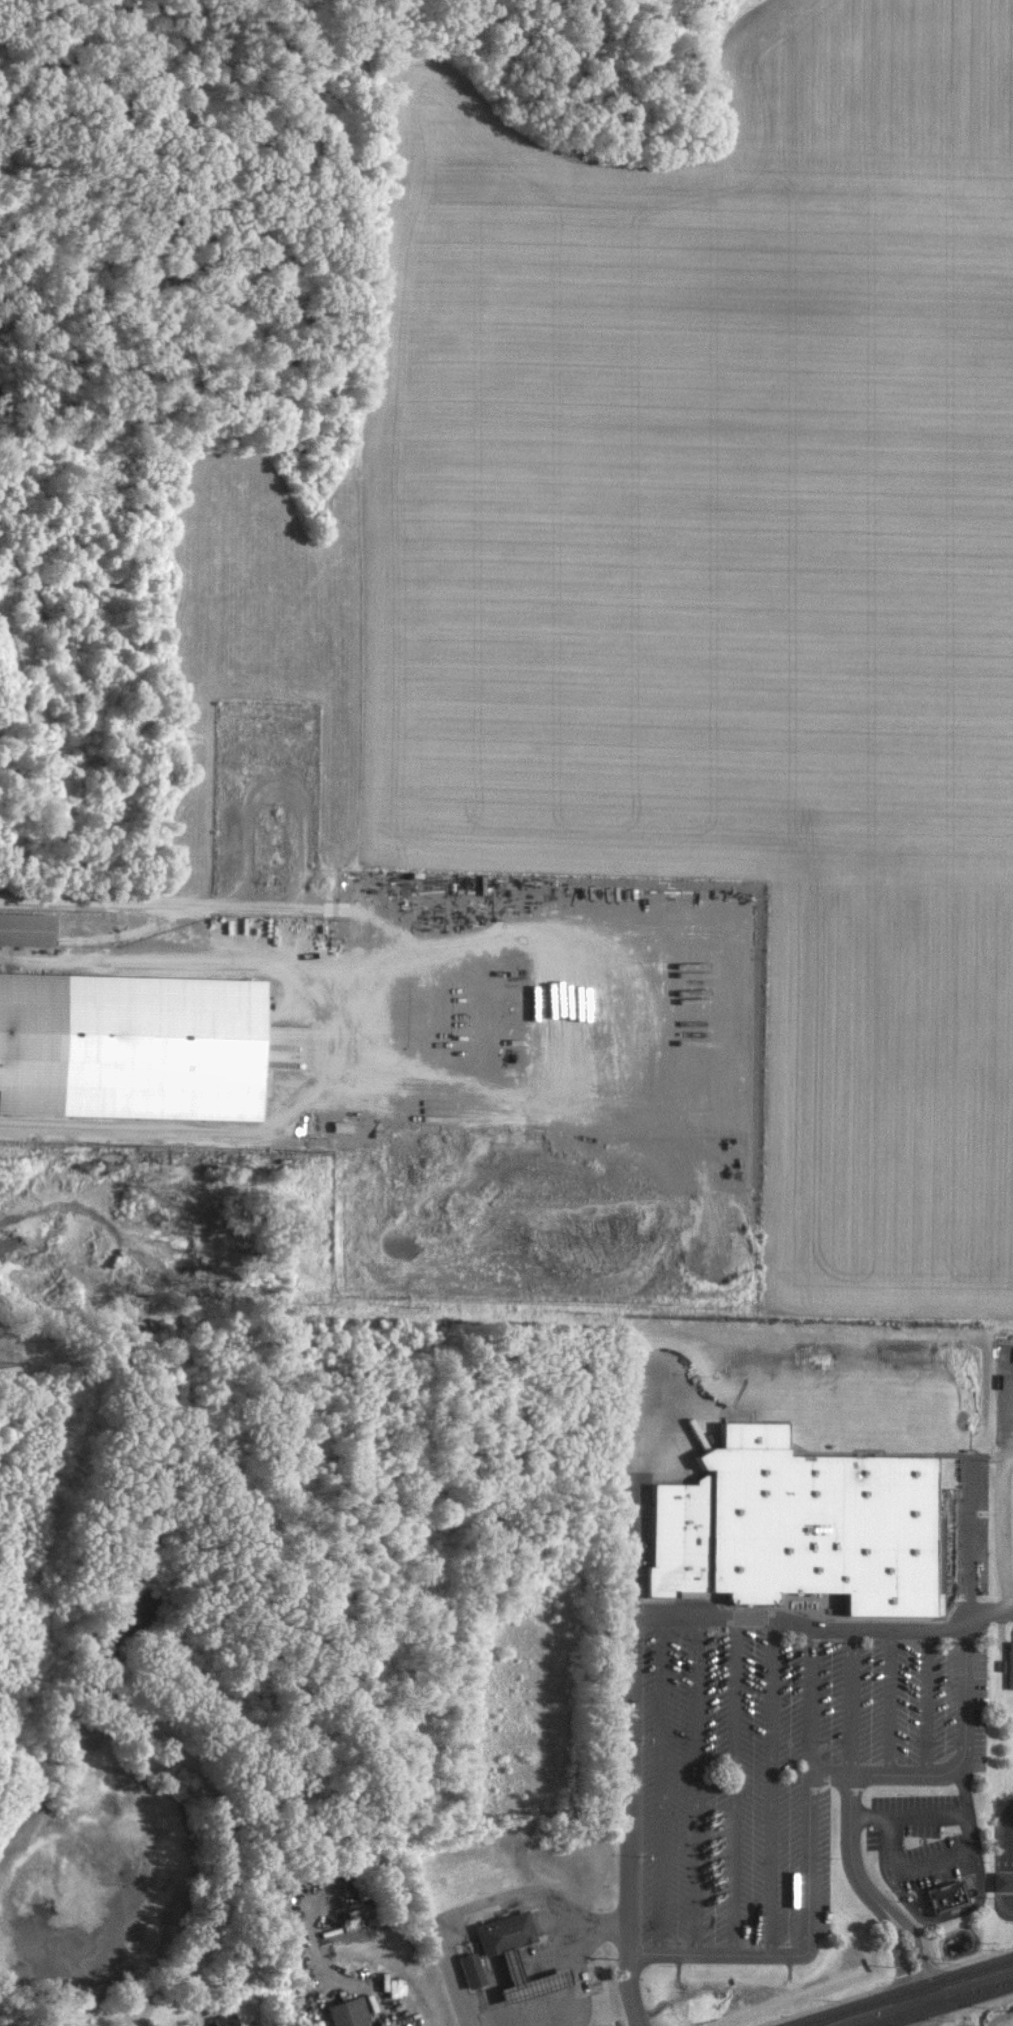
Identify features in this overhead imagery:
road: (124, 906)
building: (27, 927)
building: (131, 1044)
road: (325, 1044)
building: (341, 1125)
building: (803, 1530)
road: (997, 1532)
road: (632, 1635)
building: (1009, 1665)
road: (861, 1785)
building: (1002, 1882)
building: (945, 1896)
road: (477, 1906)
building: (500, 1932)
building: (467, 1969)
road: (581, 1974)
road: (332, 1975)
building: (520, 1980)
road: (927, 1999)
building: (348, 2012)
road: (924, 2013)
building: (225, 2019)

